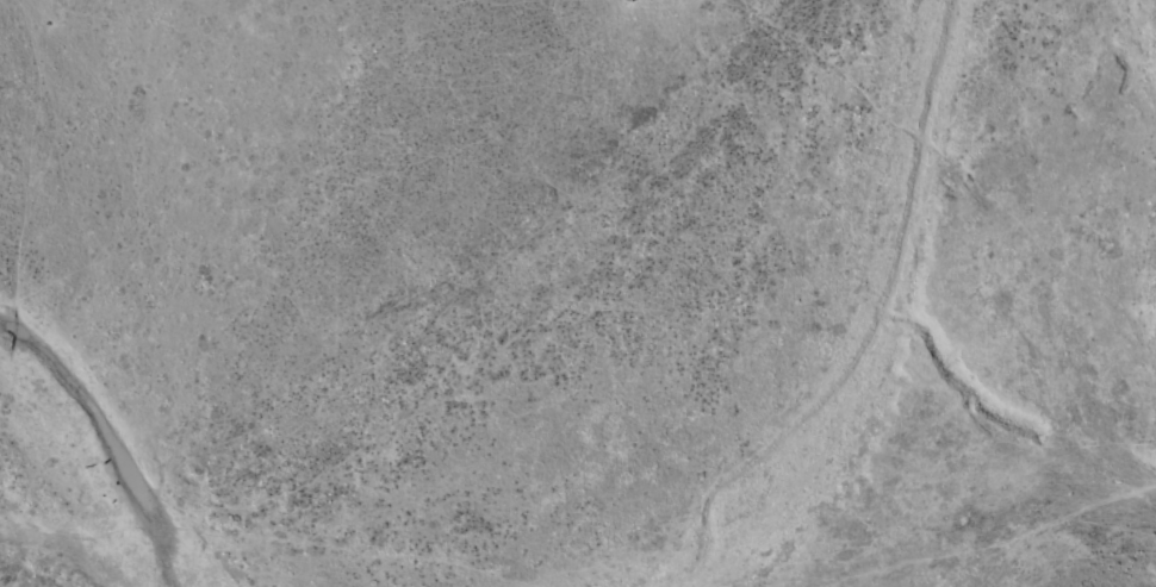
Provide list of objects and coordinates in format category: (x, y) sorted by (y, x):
road: (632, 5)

